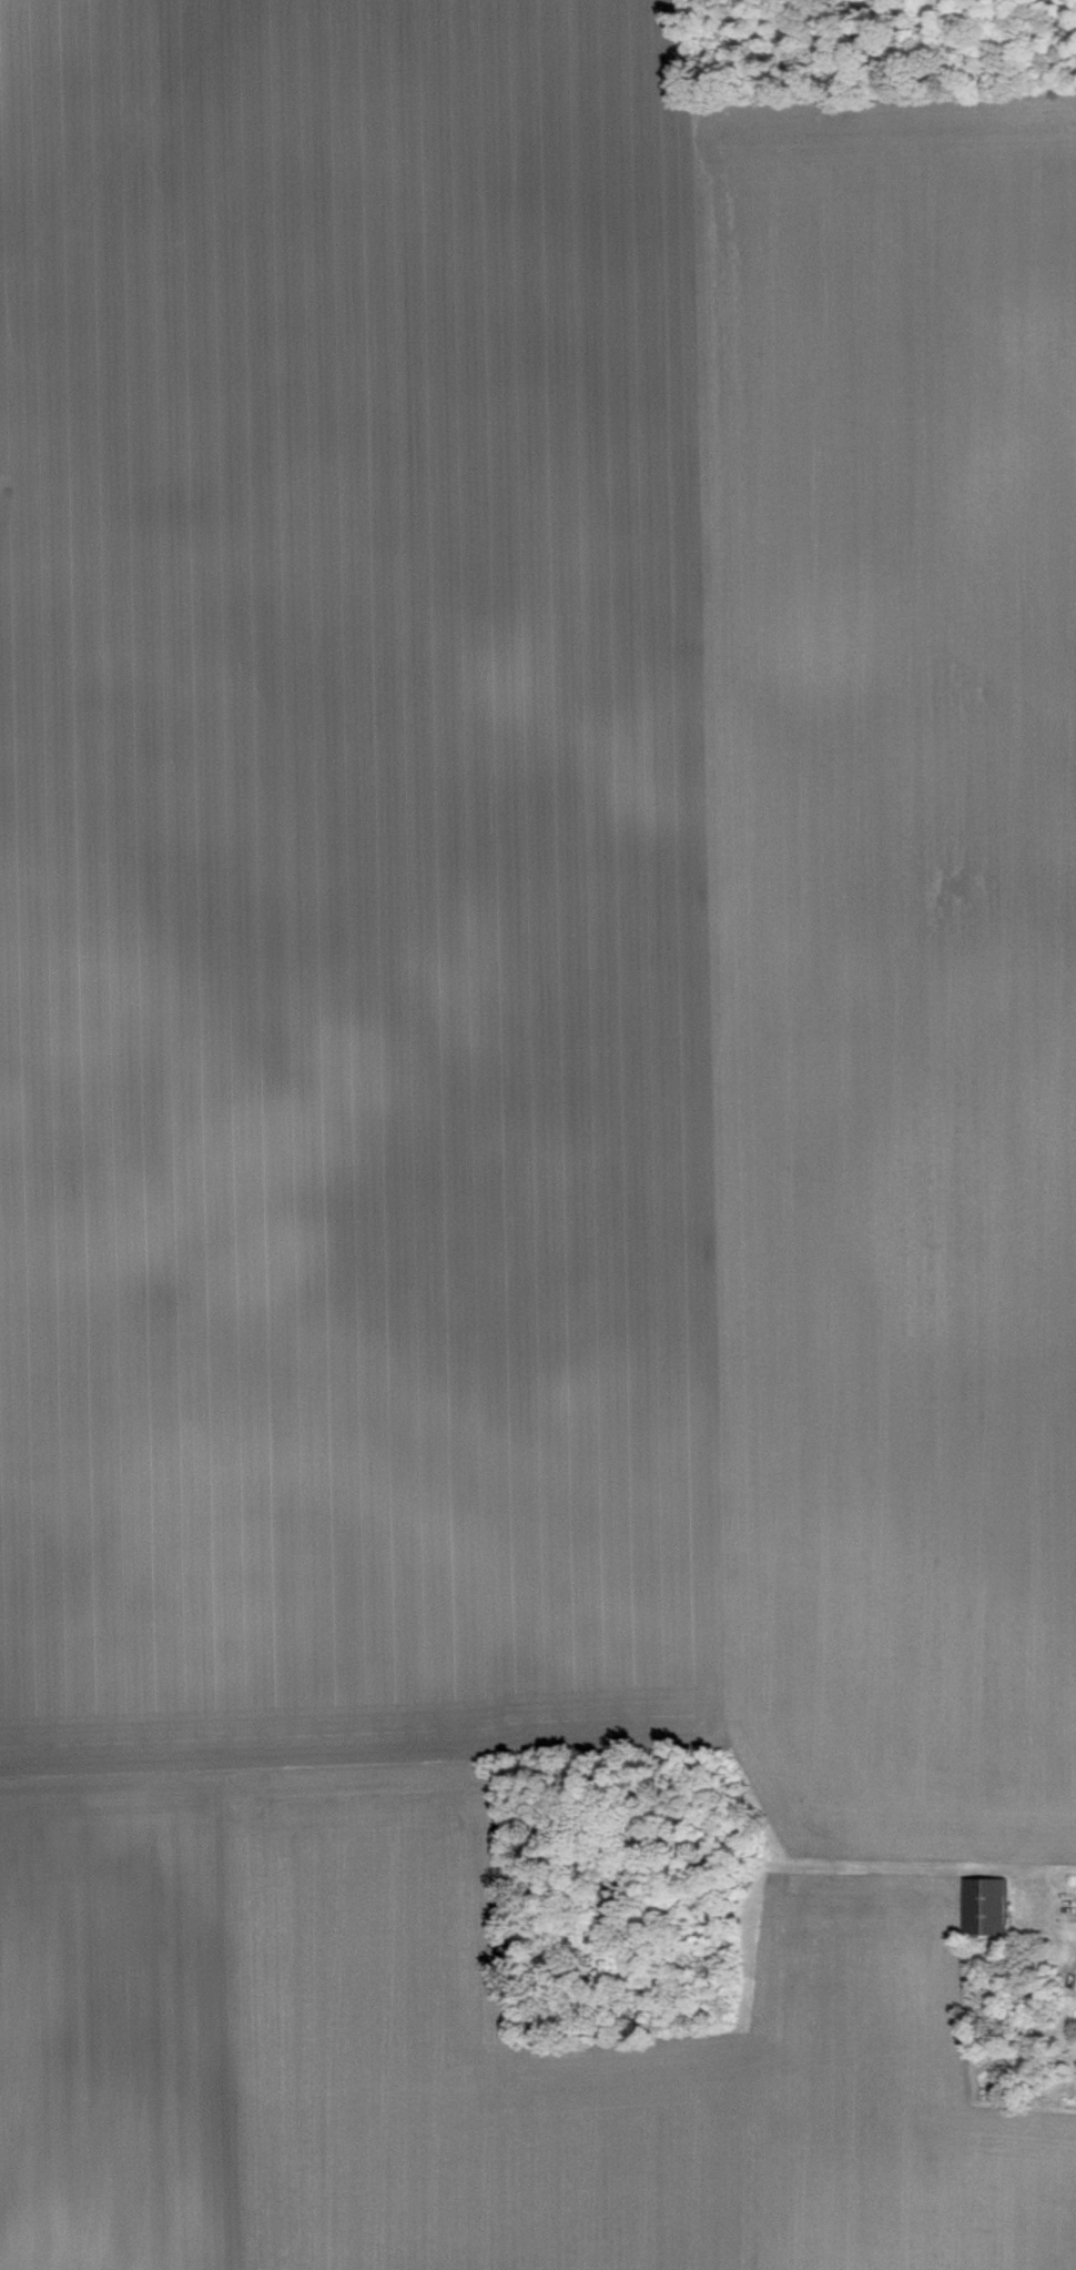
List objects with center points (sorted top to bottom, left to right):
crop: (538, 1134)
building: (982, 1903)

